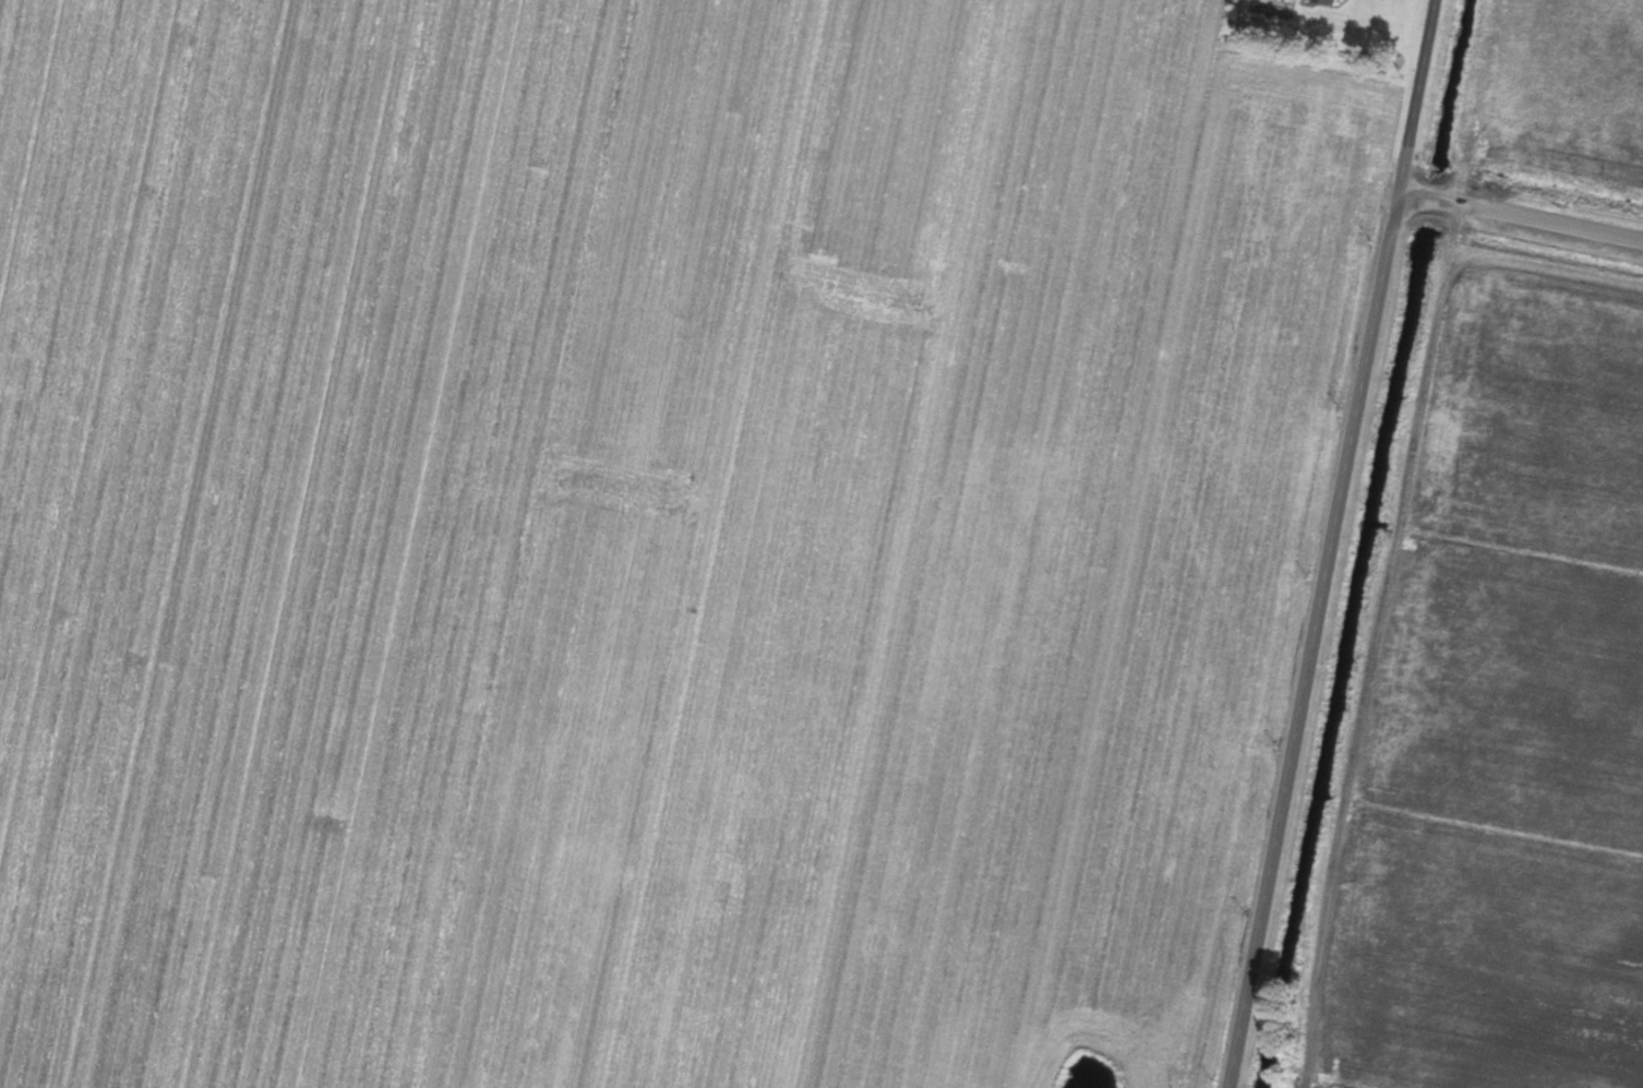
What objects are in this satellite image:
building: (1333, 3)
road: (1521, 215)
road: (1333, 543)

